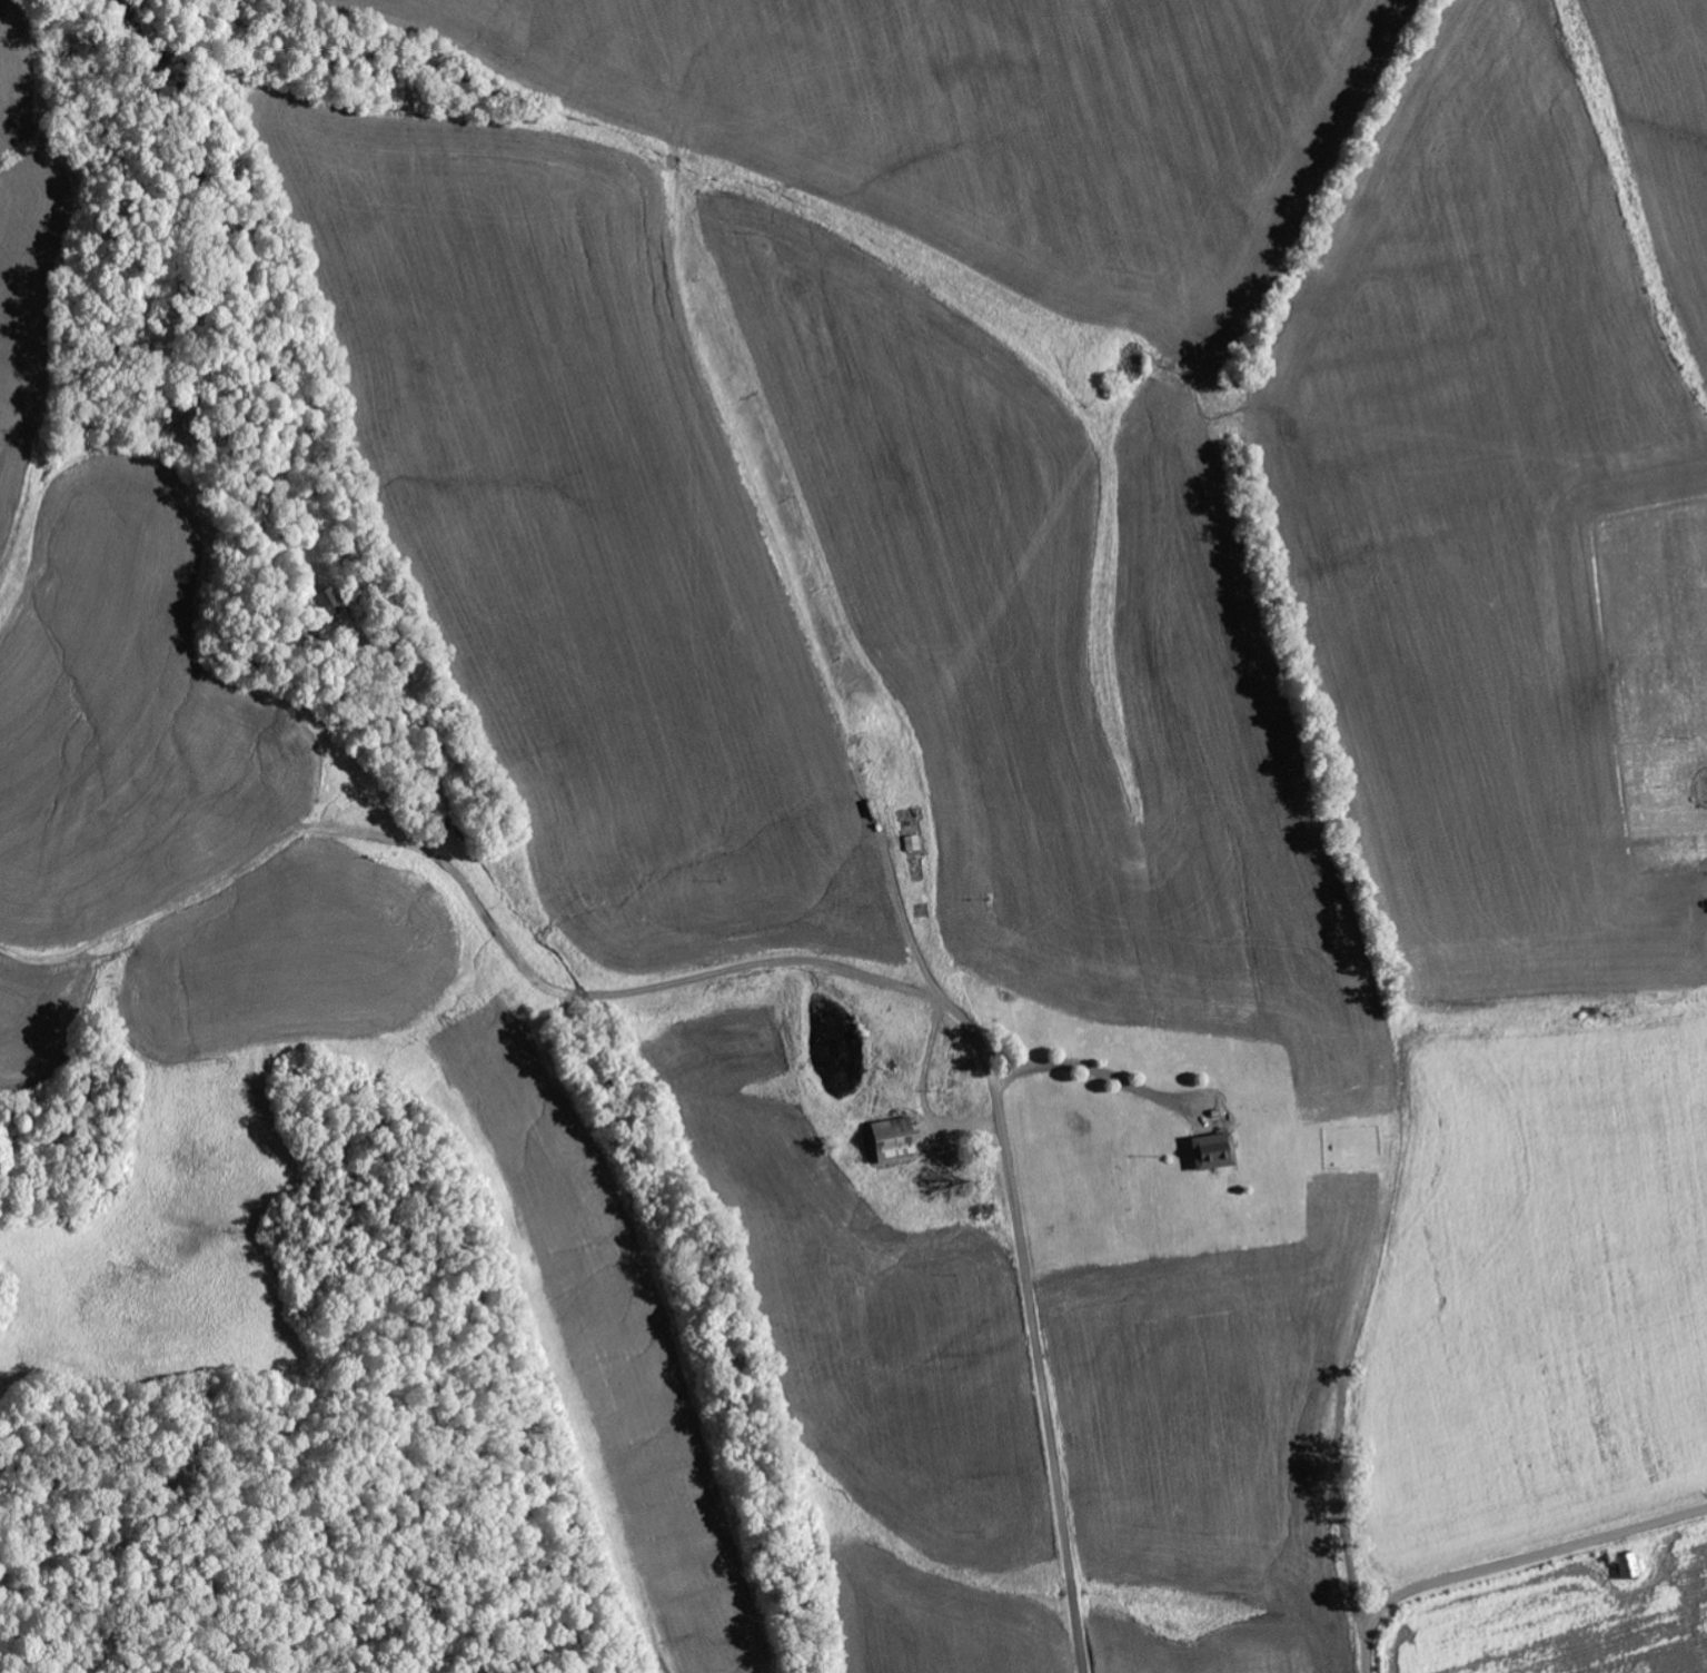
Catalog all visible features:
building: (894, 1141)
building: (1212, 1152)
road: (1040, 1363)
road: (1509, 1561)
building: (1627, 1567)

